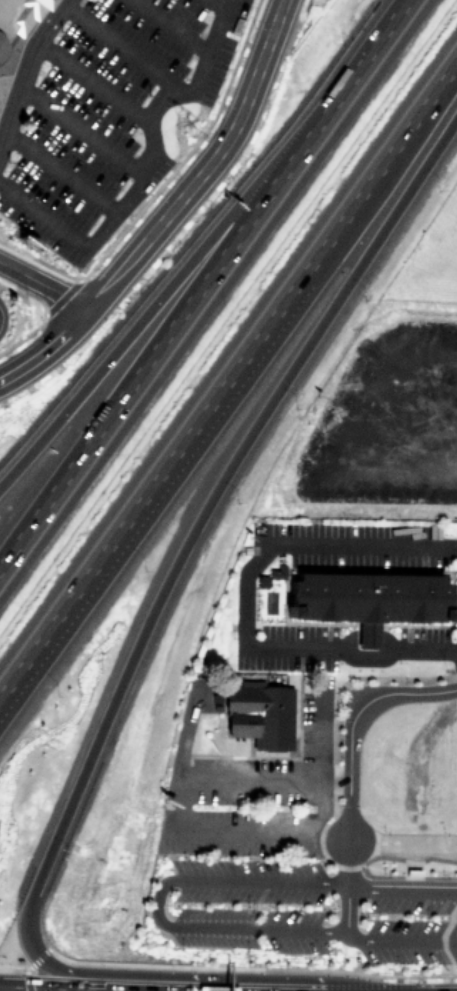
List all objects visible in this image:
road: (217, 4)
road: (276, 5)
building: (17, 19)
road: (171, 26)
road: (123, 49)
road: (24, 64)
road: (92, 81)
road: (6, 97)
road: (325, 100)
parking lot: (110, 123)
power tower: (186, 127)
road: (80, 130)
road: (147, 169)
road: (58, 172)
road: (165, 213)
road: (42, 284)
road: (124, 340)
road: (124, 377)
road: (228, 377)
building: (370, 598)
road: (241, 603)
road: (131, 655)
road: (454, 701)
building: (261, 713)
road: (348, 719)
road: (331, 728)
parking lot: (252, 789)
road: (198, 827)
road: (401, 840)
road: (400, 885)
road: (343, 886)
road: (152, 901)
parking lot: (309, 908)
road: (439, 932)
road: (398, 942)
road: (35, 957)
road: (13, 965)
road: (248, 965)
traffic signals: (2, 985)
road: (2, 988)
road: (85, 988)

